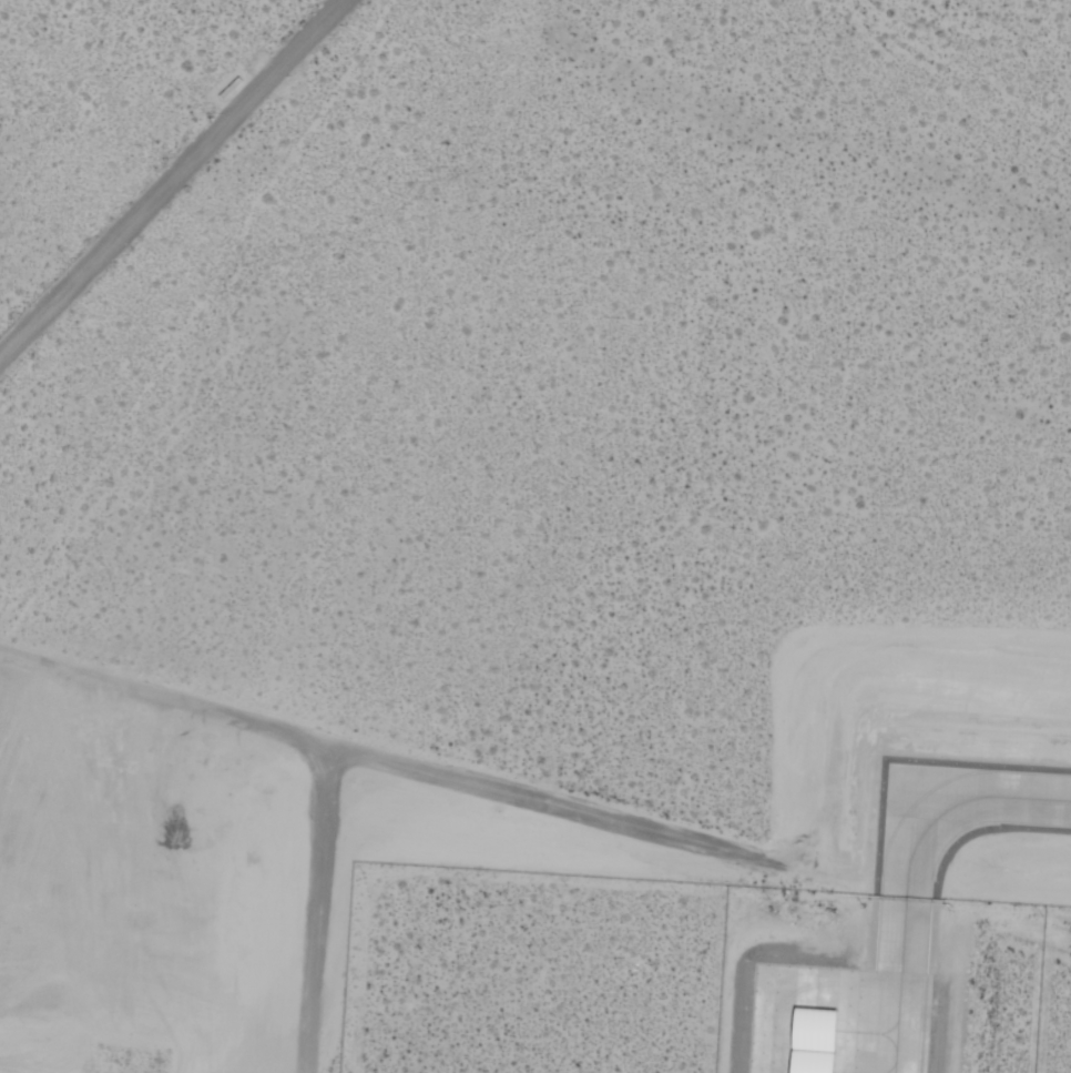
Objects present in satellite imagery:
airport: (535, 536)
road: (303, 751)
airport taxiway: (908, 873)
airport hangar: (806, 1043)
building: (806, 1043)

